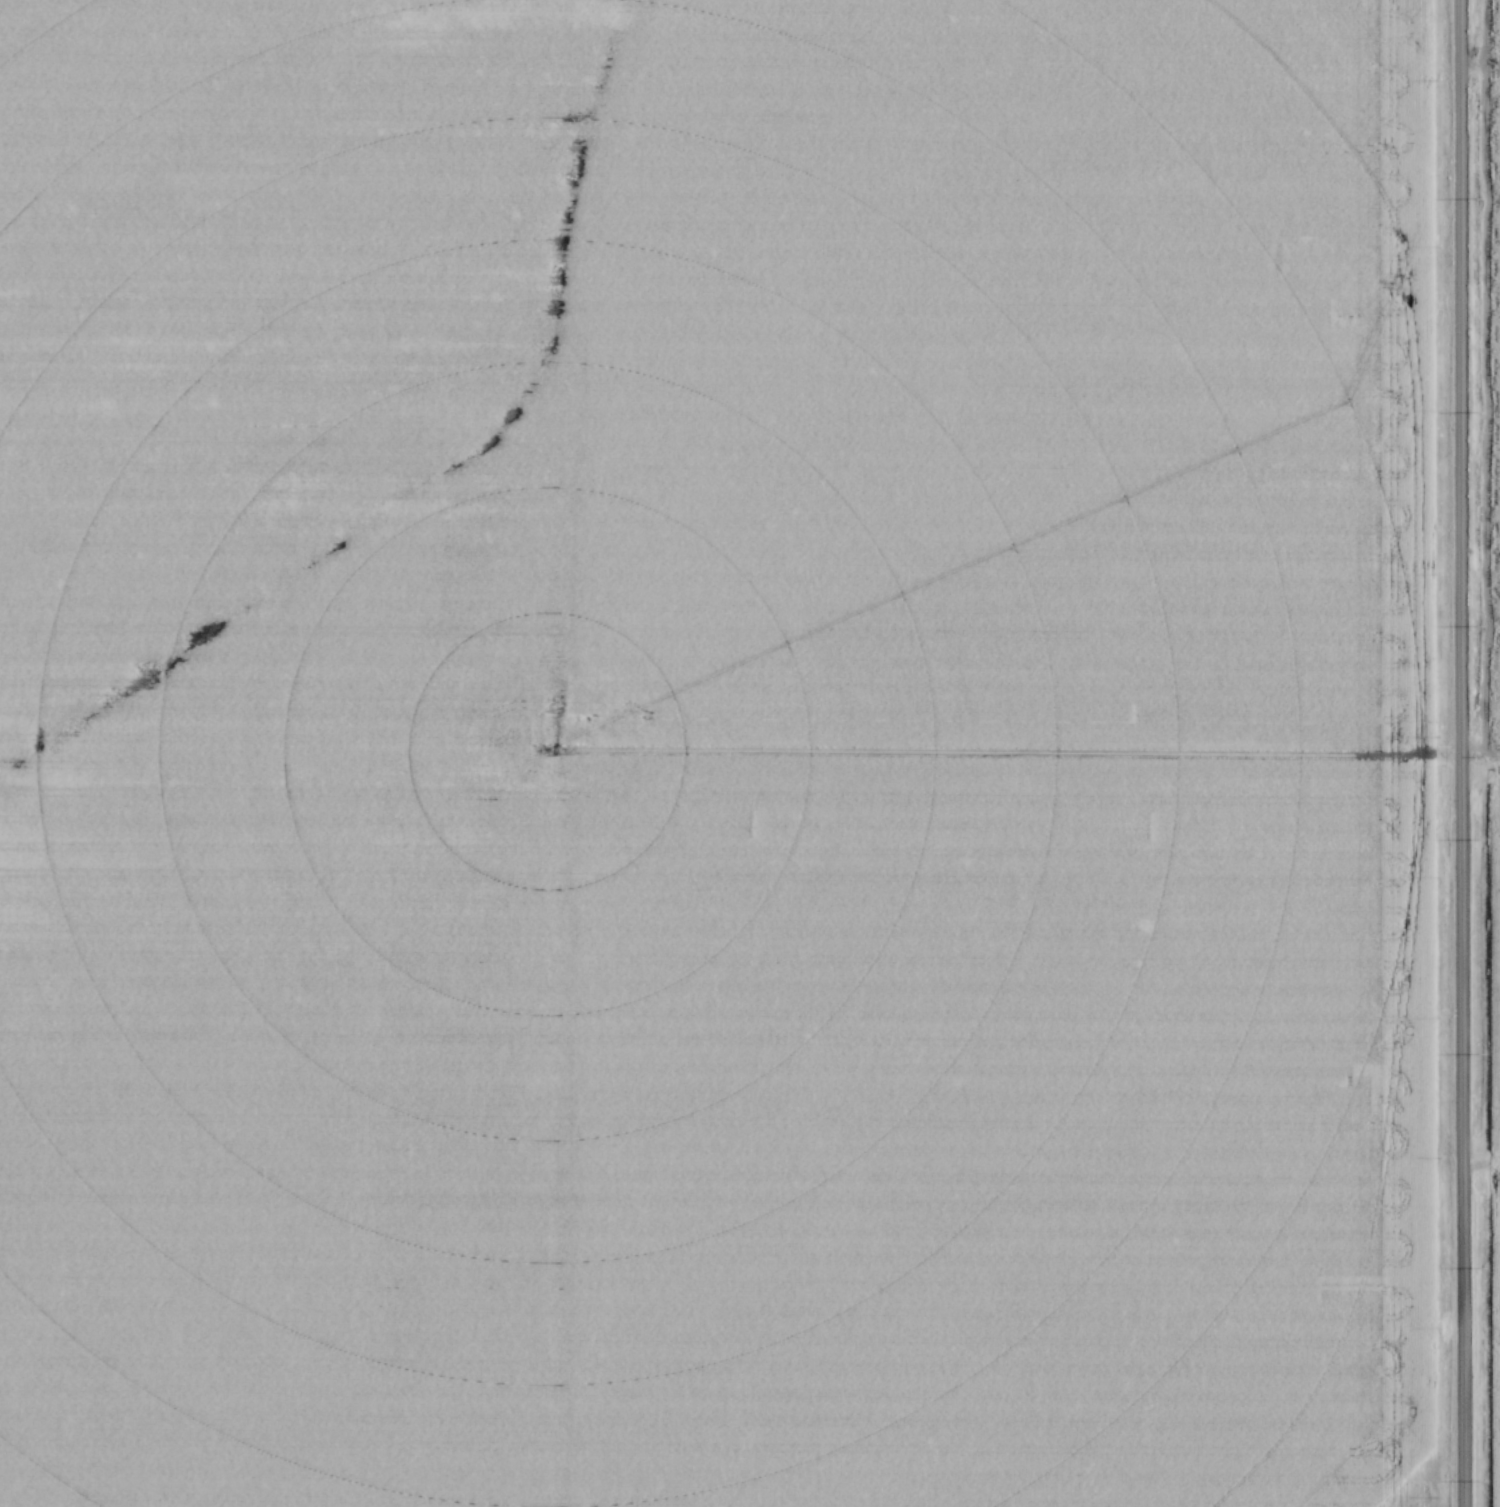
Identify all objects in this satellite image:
road: (1459, 753)

